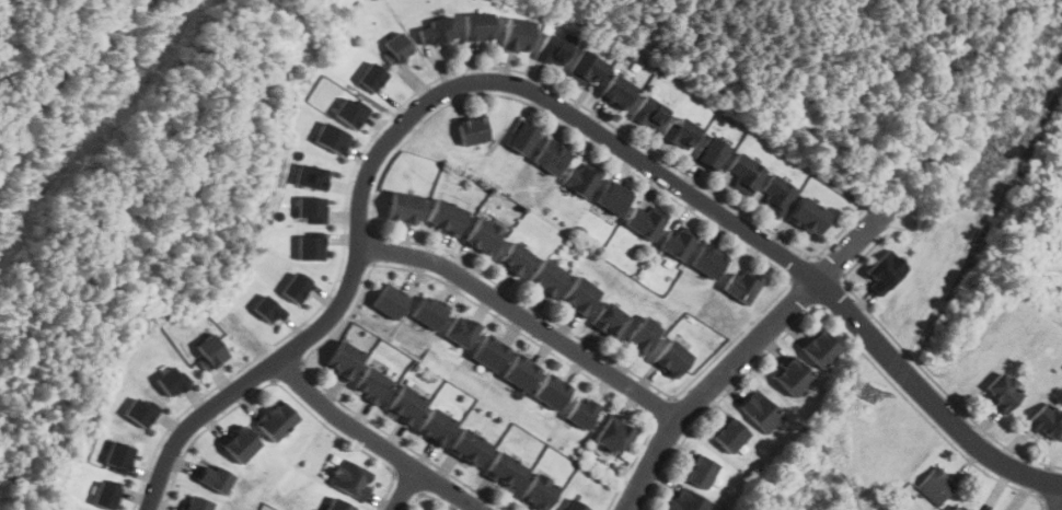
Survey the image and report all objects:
building: (476, 27)
building: (435, 32)
building: (516, 35)
building: (396, 47)
building: (552, 51)
building: (584, 68)
building: (372, 77)
building: (616, 92)
road: (546, 96)
building: (351, 112)
building: (649, 114)
building: (472, 130)
building: (679, 134)
building: (331, 137)
building: (521, 140)
building: (711, 153)
building: (550, 158)
building: (744, 174)
building: (311, 176)
building: (581, 179)
building: (776, 196)
building: (612, 199)
building: (311, 208)
building: (402, 208)
building: (445, 217)
building: (807, 217)
building: (643, 223)
building: (482, 236)
building: (677, 244)
building: (310, 246)
building: (513, 259)
building: (707, 263)
building: (885, 273)
building: (545, 278)
building: (741, 286)
building: (296, 287)
building: (578, 297)
building: (390, 302)
building: (266, 309)
building: (428, 312)
road: (526, 317)
building: (609, 321)
building: (461, 331)
building: (640, 335)
road: (753, 343)
building: (819, 348)
building: (209, 351)
building: (490, 352)
building: (670, 358)
building: (343, 360)
building: (521, 372)
building: (792, 376)
building: (171, 380)
building: (370, 384)
building: (552, 391)
building: (1003, 391)
power tower: (869, 394)
building: (404, 405)
building: (140, 410)
building: (761, 410)
building: (581, 413)
building: (276, 420)
building: (1047, 421)
building: (435, 426)
building: (613, 433)
building: (729, 433)
road: (373, 439)
building: (240, 444)
building: (469, 448)
building: (118, 455)
building: (330, 466)
building: (504, 471)
building: (700, 472)
building: (212, 477)
building: (349, 478)
building: (934, 486)
road: (405, 489)
building: (536, 491)
building: (105, 495)
road: (1058, 496)
building: (688, 500)
building: (195, 502)
building: (336, 505)
building: (573, 506)
building: (959, 507)

